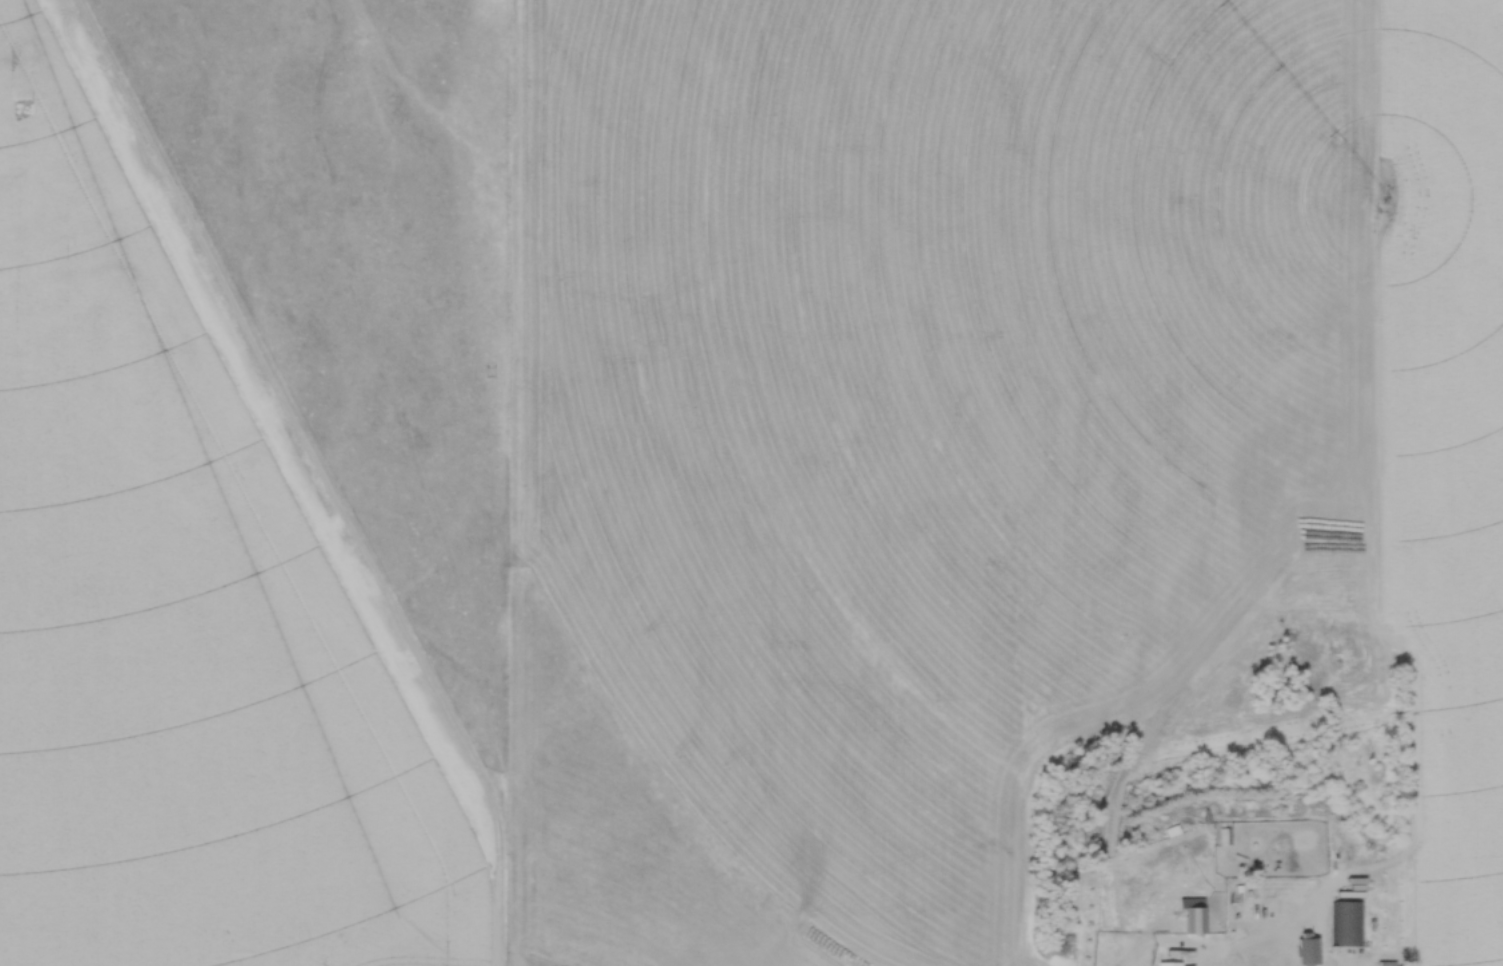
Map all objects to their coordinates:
road: (1414, 818)
building: (1194, 918)
building: (1343, 925)
road: (1343, 961)

